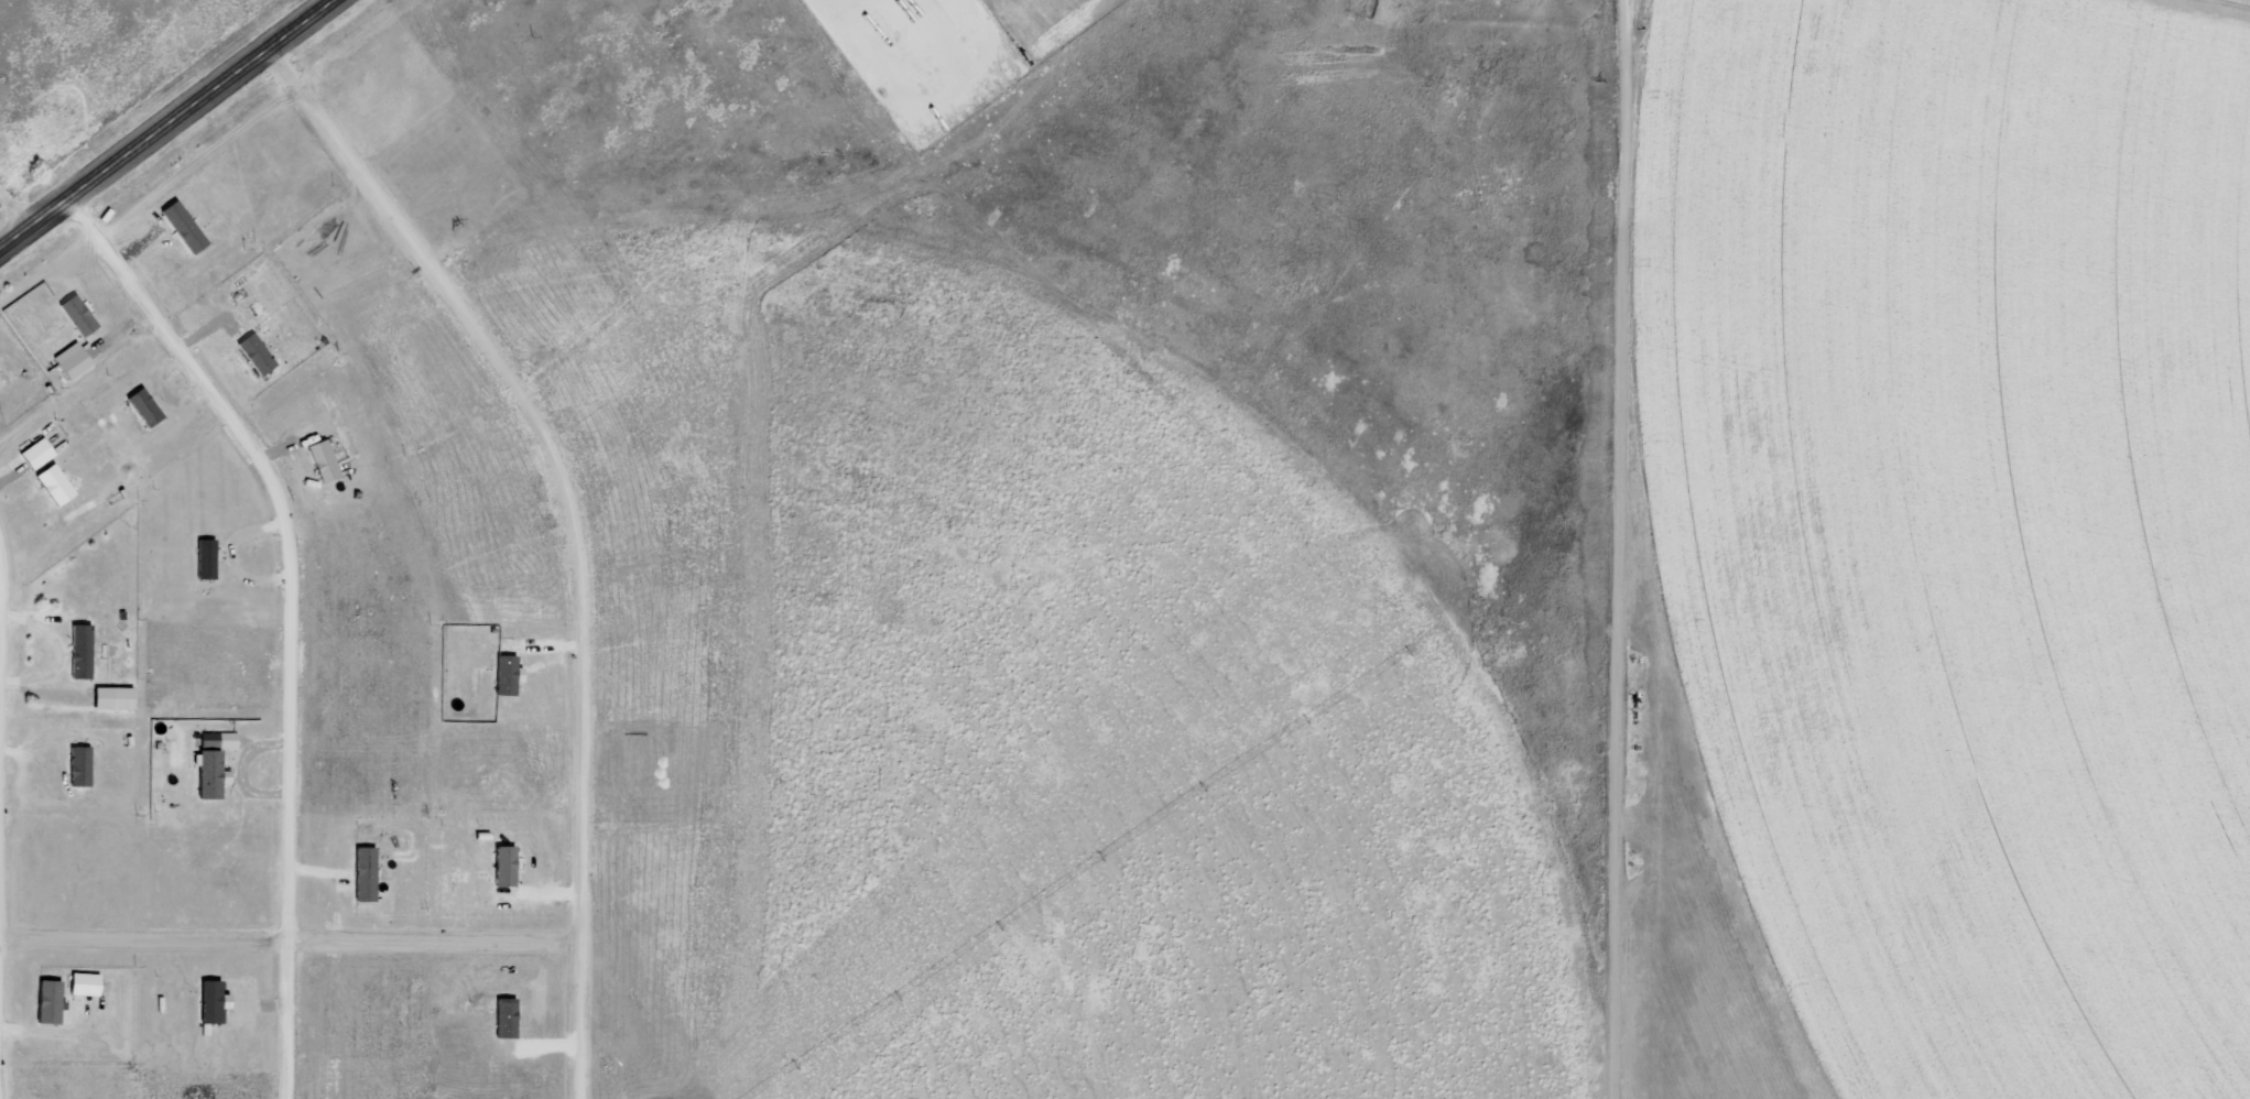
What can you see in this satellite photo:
road: (167, 124)
building: (182, 226)
building: (76, 314)
building: (253, 353)
building: (69, 359)
building: (142, 405)
building: (34, 453)
building: (320, 460)
building: (52, 483)
building: (78, 651)
building: (120, 697)
building: (78, 765)
building: (207, 773)
building: (362, 873)
building: (83, 983)
building: (46, 1001)
building: (210, 1001)

